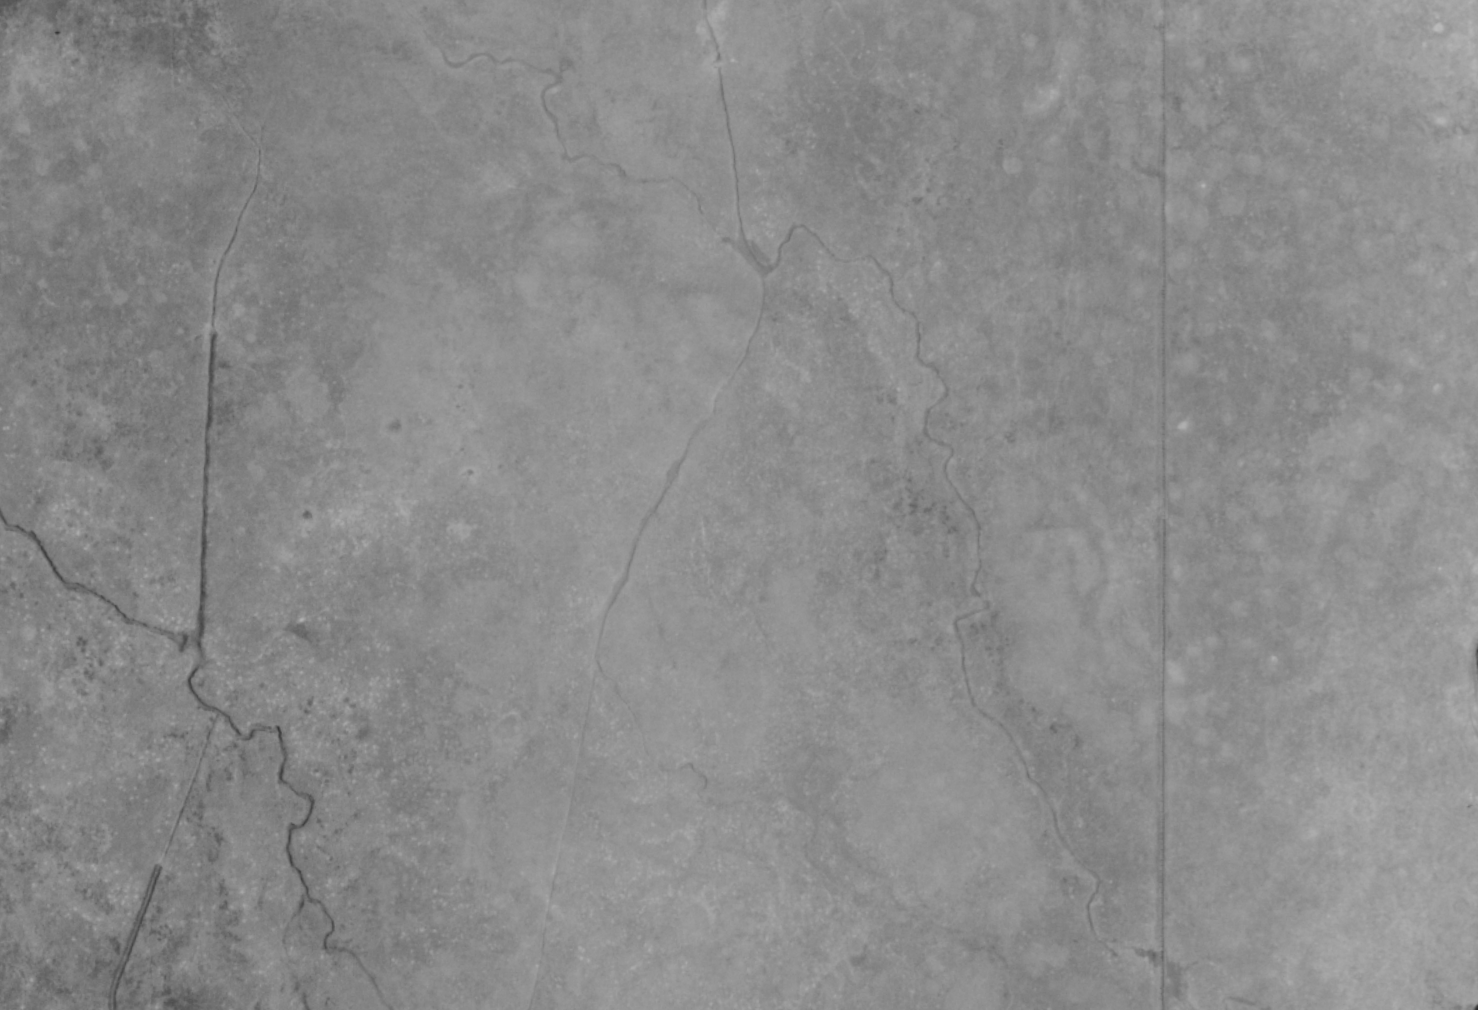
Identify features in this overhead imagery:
crop: (739, 505)

